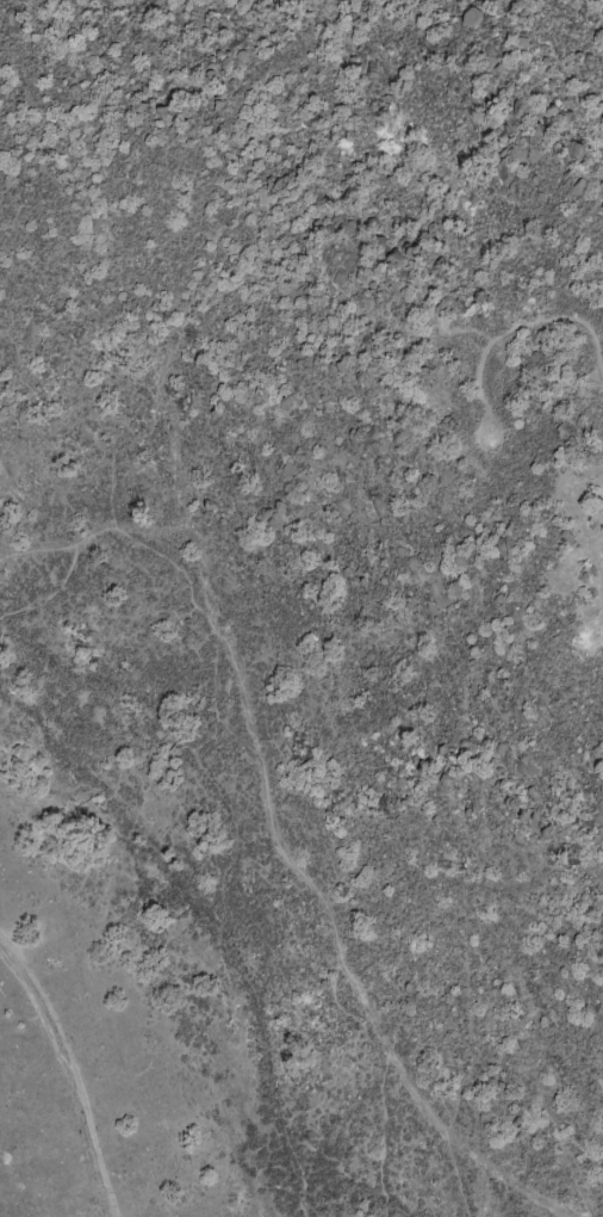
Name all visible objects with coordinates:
road: (64, 1079)

